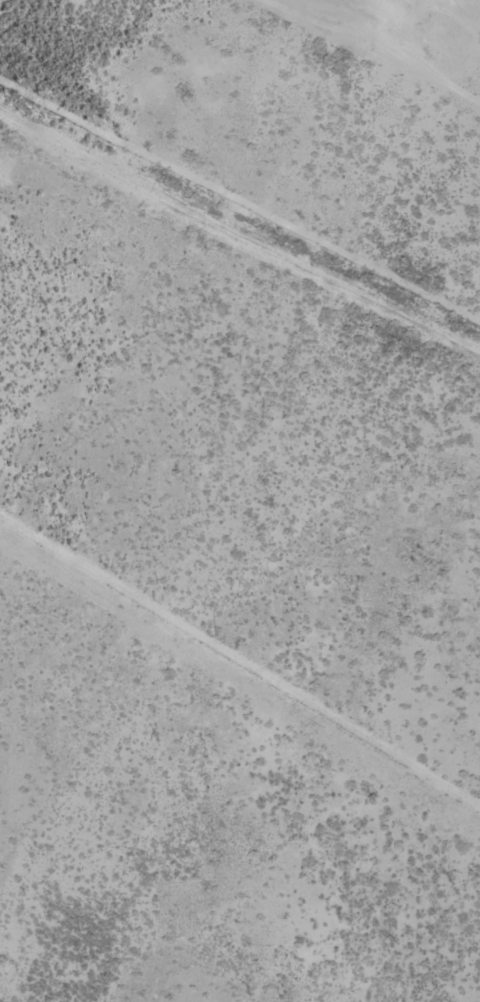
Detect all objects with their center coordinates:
power tower: (429, 41)
road: (240, 228)

